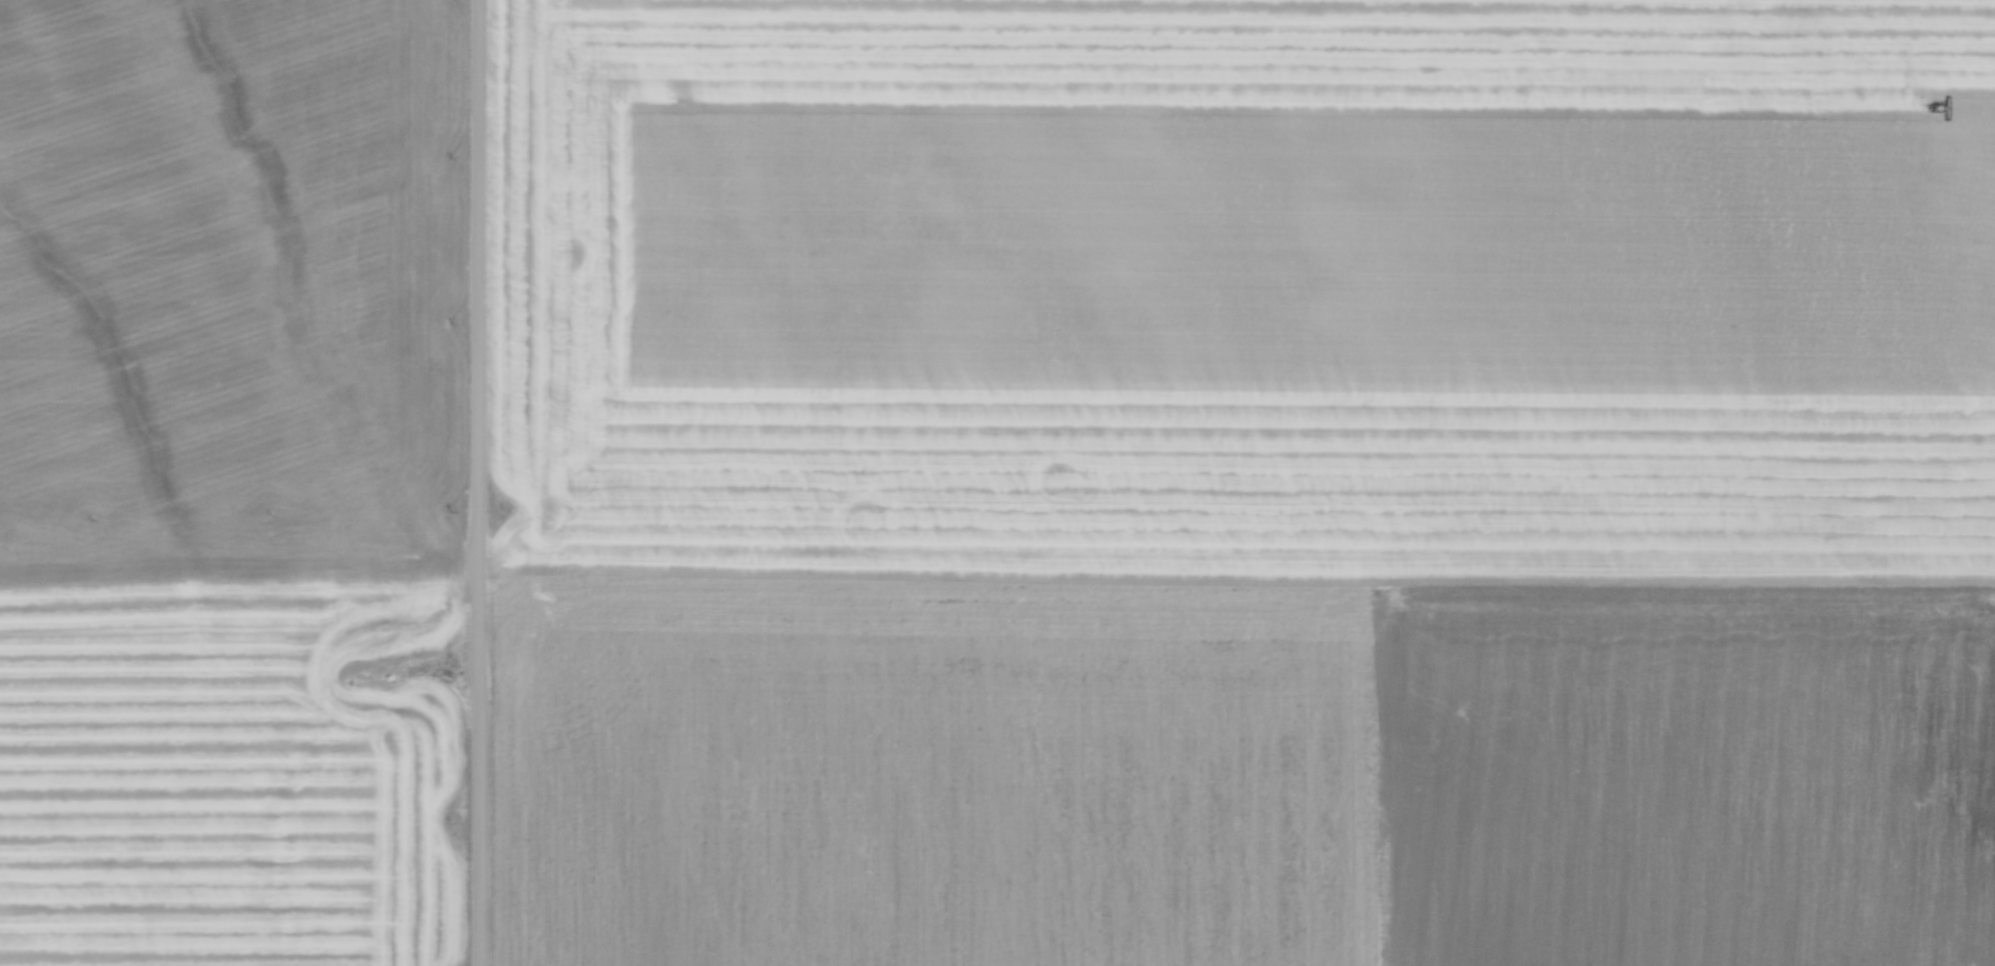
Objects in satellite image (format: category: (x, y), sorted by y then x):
crop: (229, 481)
road: (480, 482)
crop: (1246, 483)

